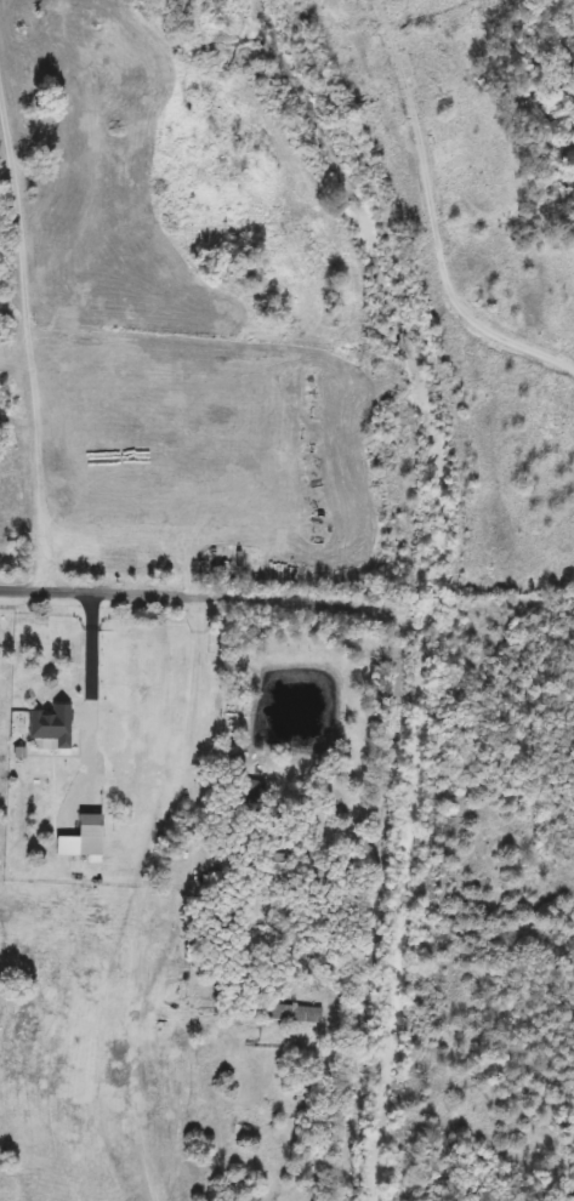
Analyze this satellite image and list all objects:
road: (28, 334)
road: (194, 596)
road: (93, 711)
building: (53, 725)
road: (390, 770)
building: (249, 806)
building: (93, 836)
building: (280, 865)

